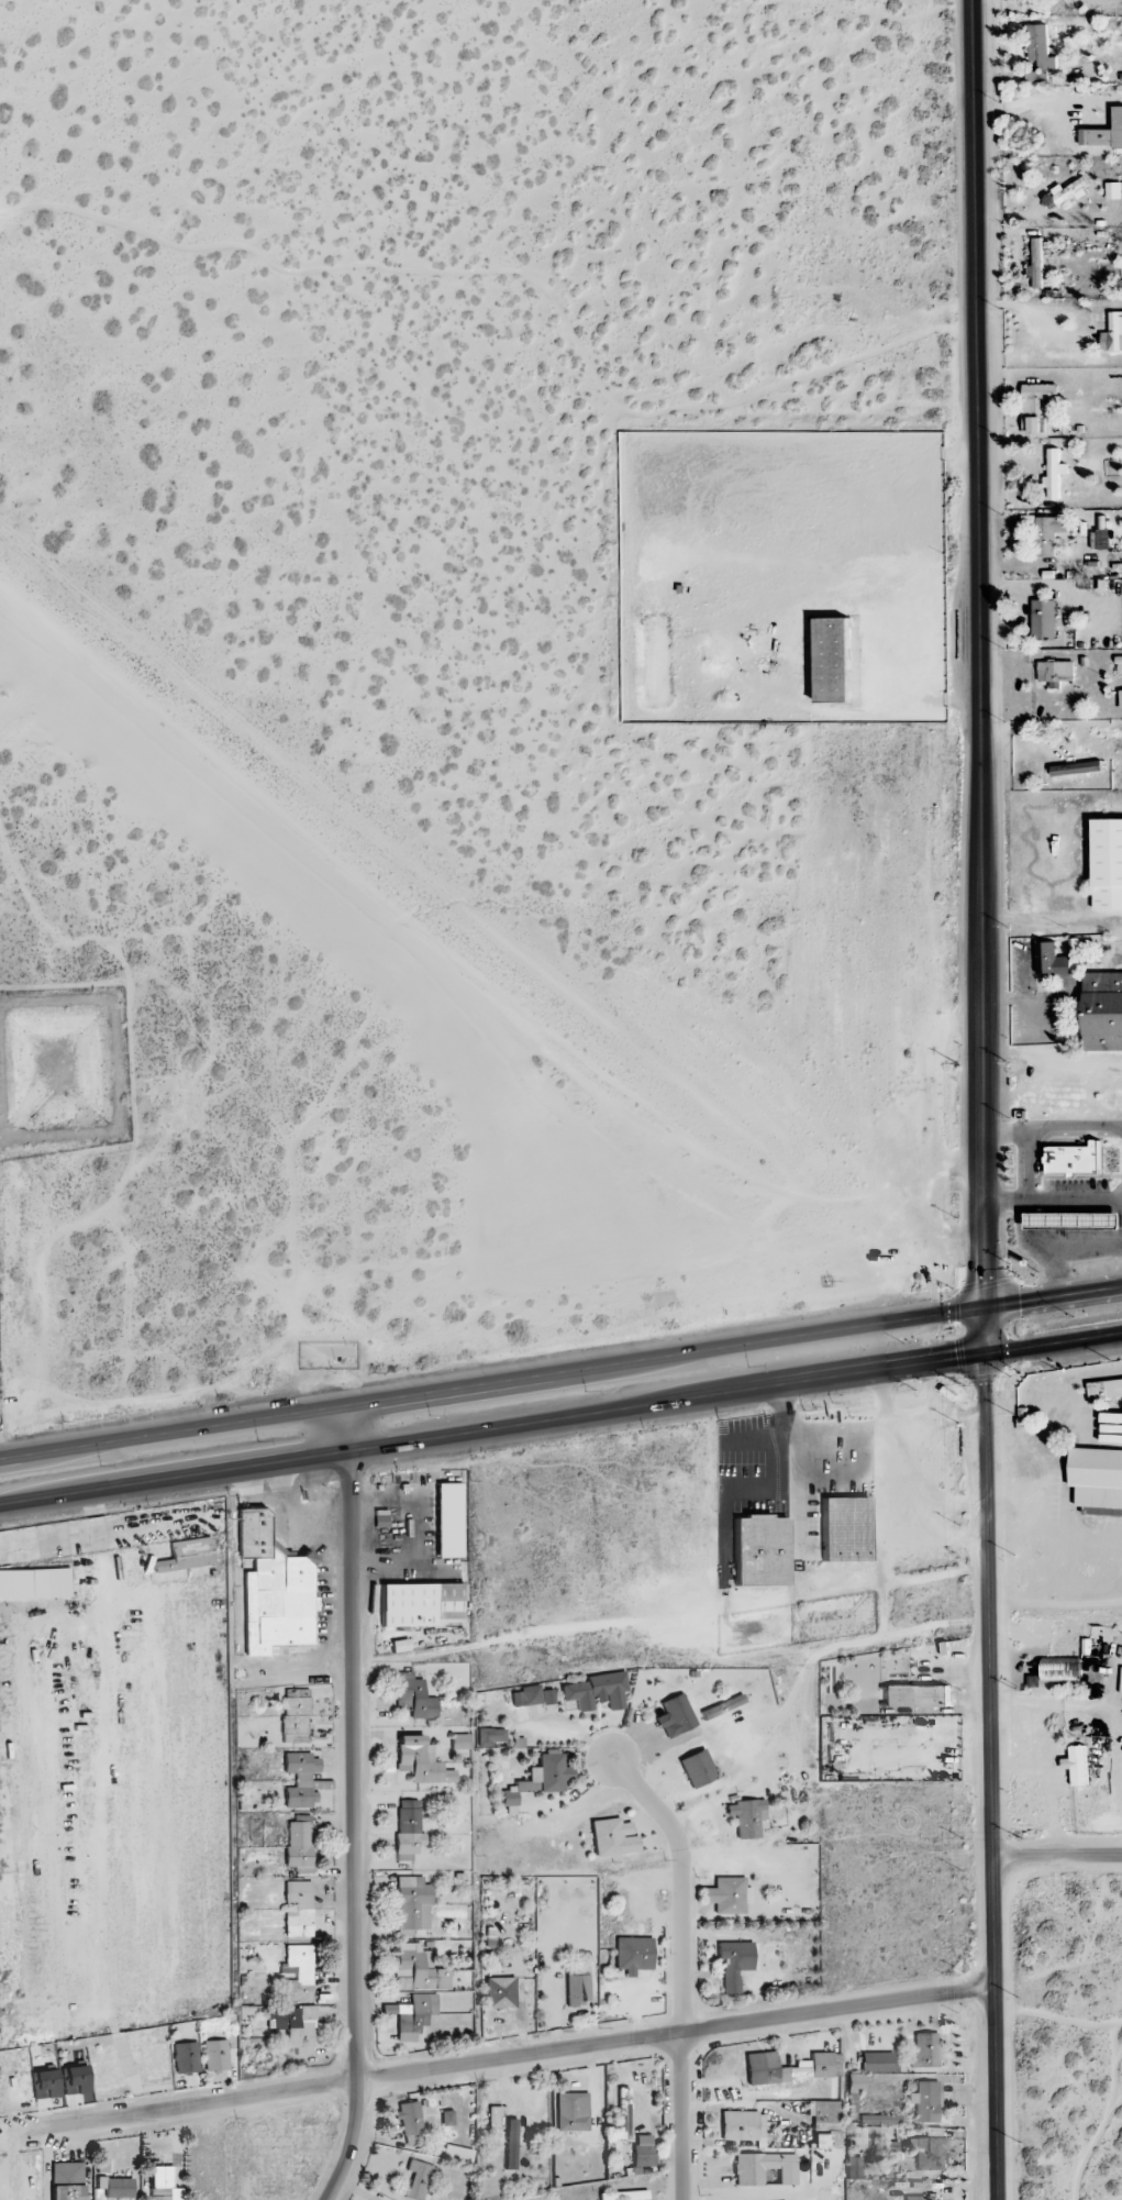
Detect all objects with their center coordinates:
building: (1040, 46)
building: (1036, 77)
building: (1107, 132)
building: (1112, 190)
building: (1065, 194)
building: (1035, 264)
road: (1030, 319)
building: (1036, 406)
building: (1054, 474)
building: (1048, 533)
building: (1102, 539)
building: (1046, 566)
building: (1044, 620)
building: (833, 660)
building: (1055, 673)
building: (1120, 699)
building: (1076, 769)
building: (1107, 864)
road: (1040, 918)
building: (1053, 960)
building: (1102, 1011)
road: (982, 1099)
building: (1075, 1160)
road: (560, 1375)
building: (1106, 1390)
road: (737, 1401)
building: (1111, 1418)
road: (349, 1434)
building: (1098, 1481)
road: (177, 1486)
building: (447, 1521)
building: (843, 1530)
building: (756, 1551)
building: (186, 1556)
building: (33, 1584)
building: (271, 1590)
building: (418, 1604)
building: (1096, 1637)
building: (1062, 1670)
building: (596, 1692)
building: (530, 1696)
building: (914, 1696)
building: (413, 1698)
building: (721, 1707)
building: (293, 1716)
building: (674, 1716)
building: (490, 1738)
building: (458, 1742)
building: (420, 1762)
building: (1077, 1765)
building: (696, 1769)
building: (537, 1779)
building: (746, 1818)
building: (407, 1831)
road: (354, 1833)
building: (611, 1838)
building: (297, 1843)
road: (1056, 1870)
building: (725, 1895)
building: (541, 1900)
building: (411, 1906)
building: (297, 1910)
building: (632, 1957)
road: (684, 1965)
building: (732, 1965)
building: (416, 1971)
building: (298, 1974)
building: (576, 1986)
building: (498, 1993)
building: (412, 2016)
building: (295, 2028)
building: (924, 2052)
building: (214, 2056)
building: (185, 2058)
road: (498, 2060)
building: (788, 2068)
building: (74, 2080)
building: (43, 2085)
building: (853, 2091)
building: (923, 2102)
building: (570, 2112)
building: (621, 2113)
building: (492, 2118)
building: (446, 2119)
building: (879, 2121)
building: (824, 2123)
building: (409, 2124)
building: (742, 2127)
building: (926, 2154)
building: (641, 2159)
building: (852, 2168)
building: (762, 2169)
building: (416, 2179)
building: (65, 2181)
building: (111, 2182)
building: (162, 2185)
building: (622, 2196)
building: (920, 2198)

